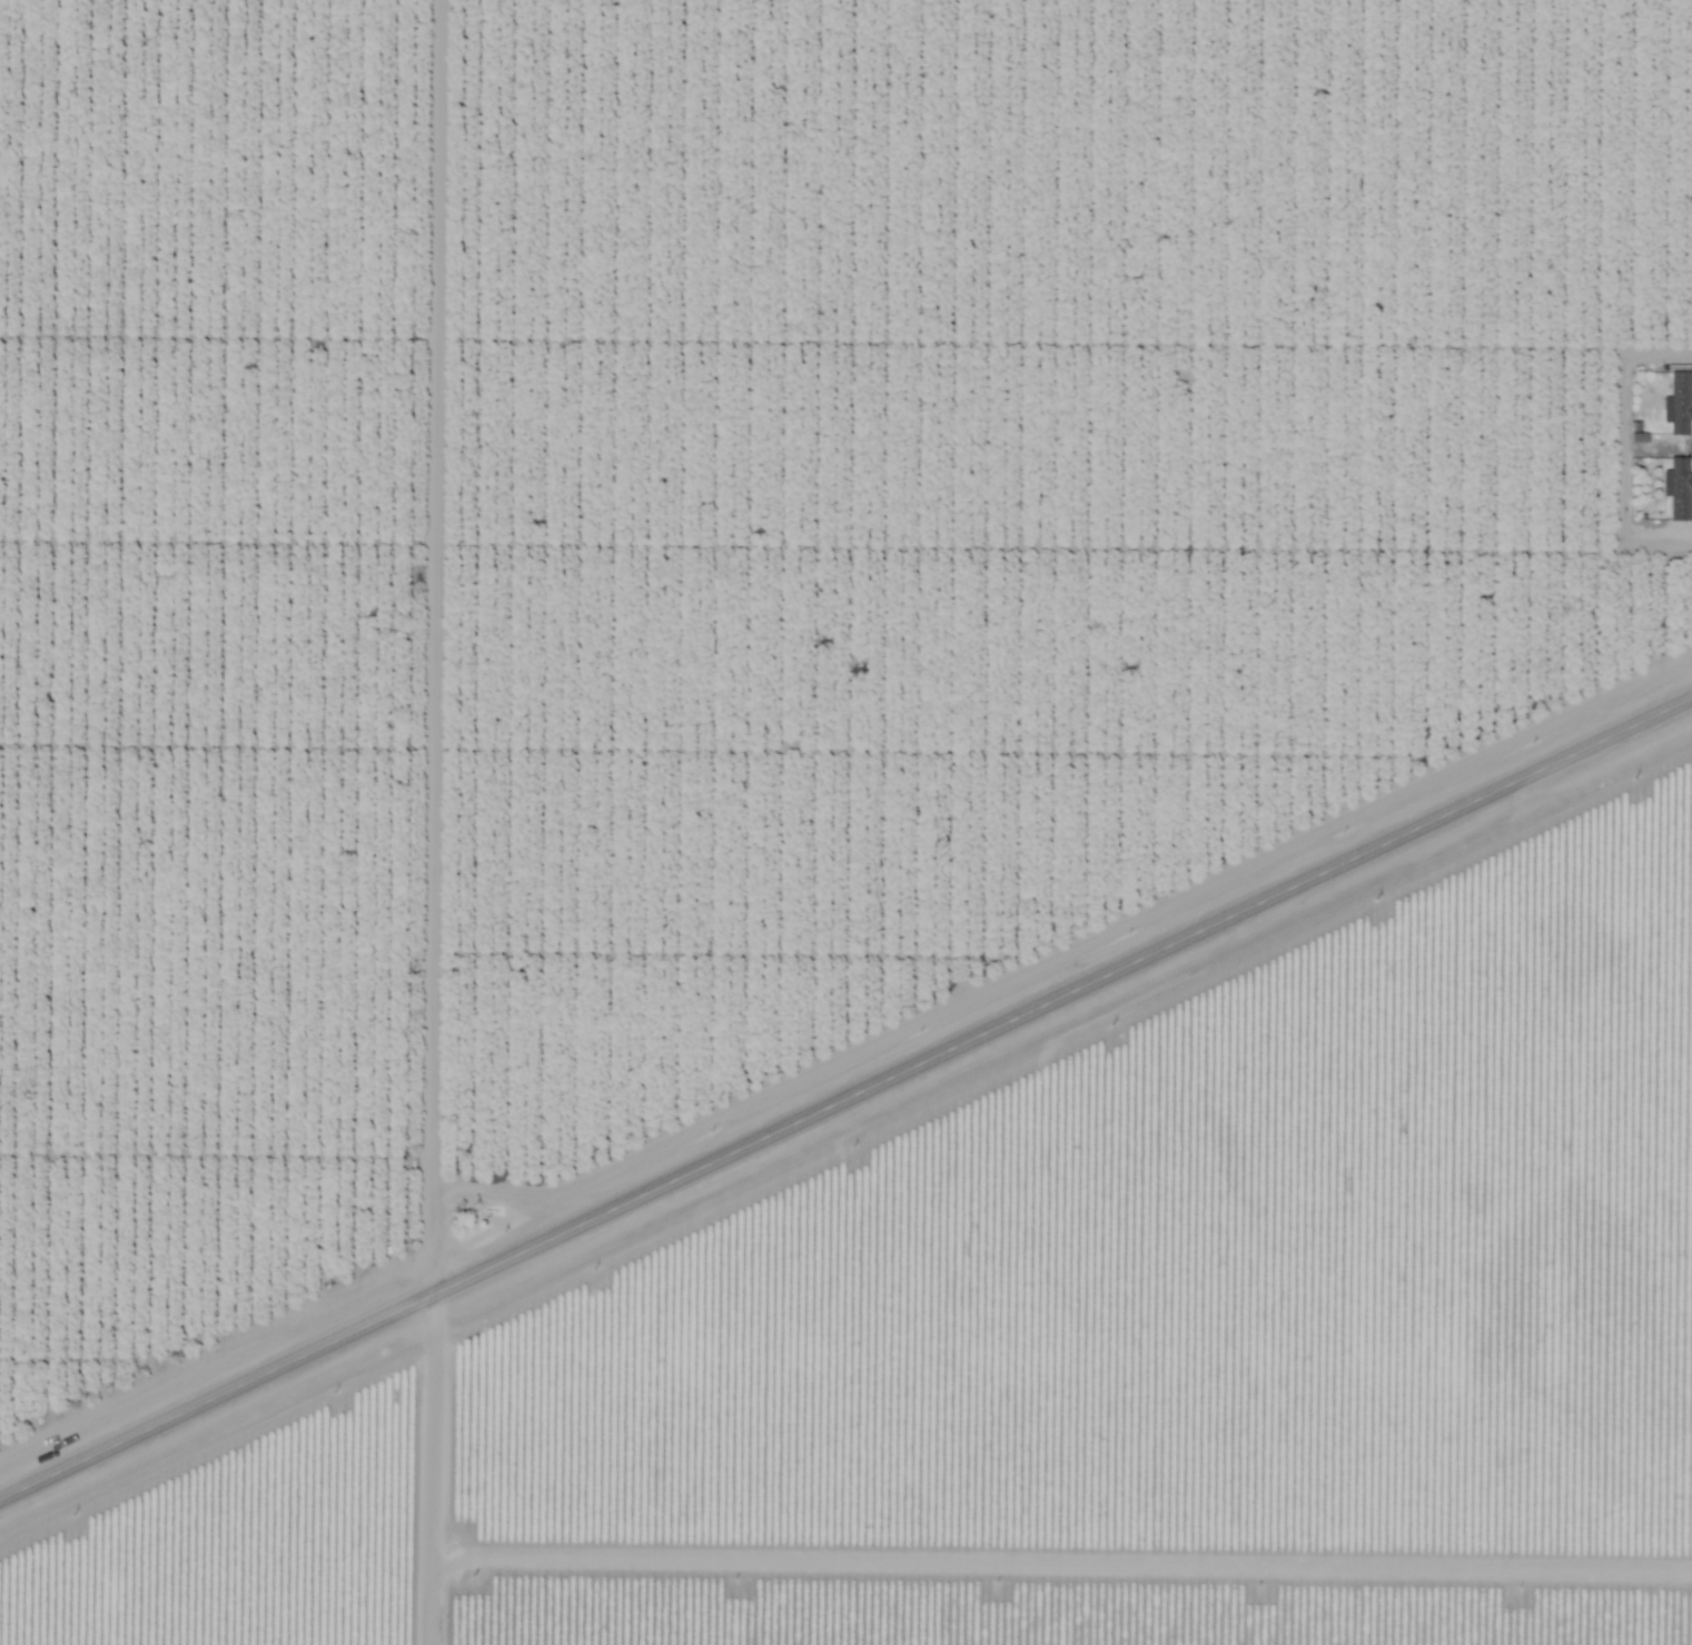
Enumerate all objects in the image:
building: (1679, 400)
building: (1679, 487)
crop: (225, 665)
road: (845, 1102)

